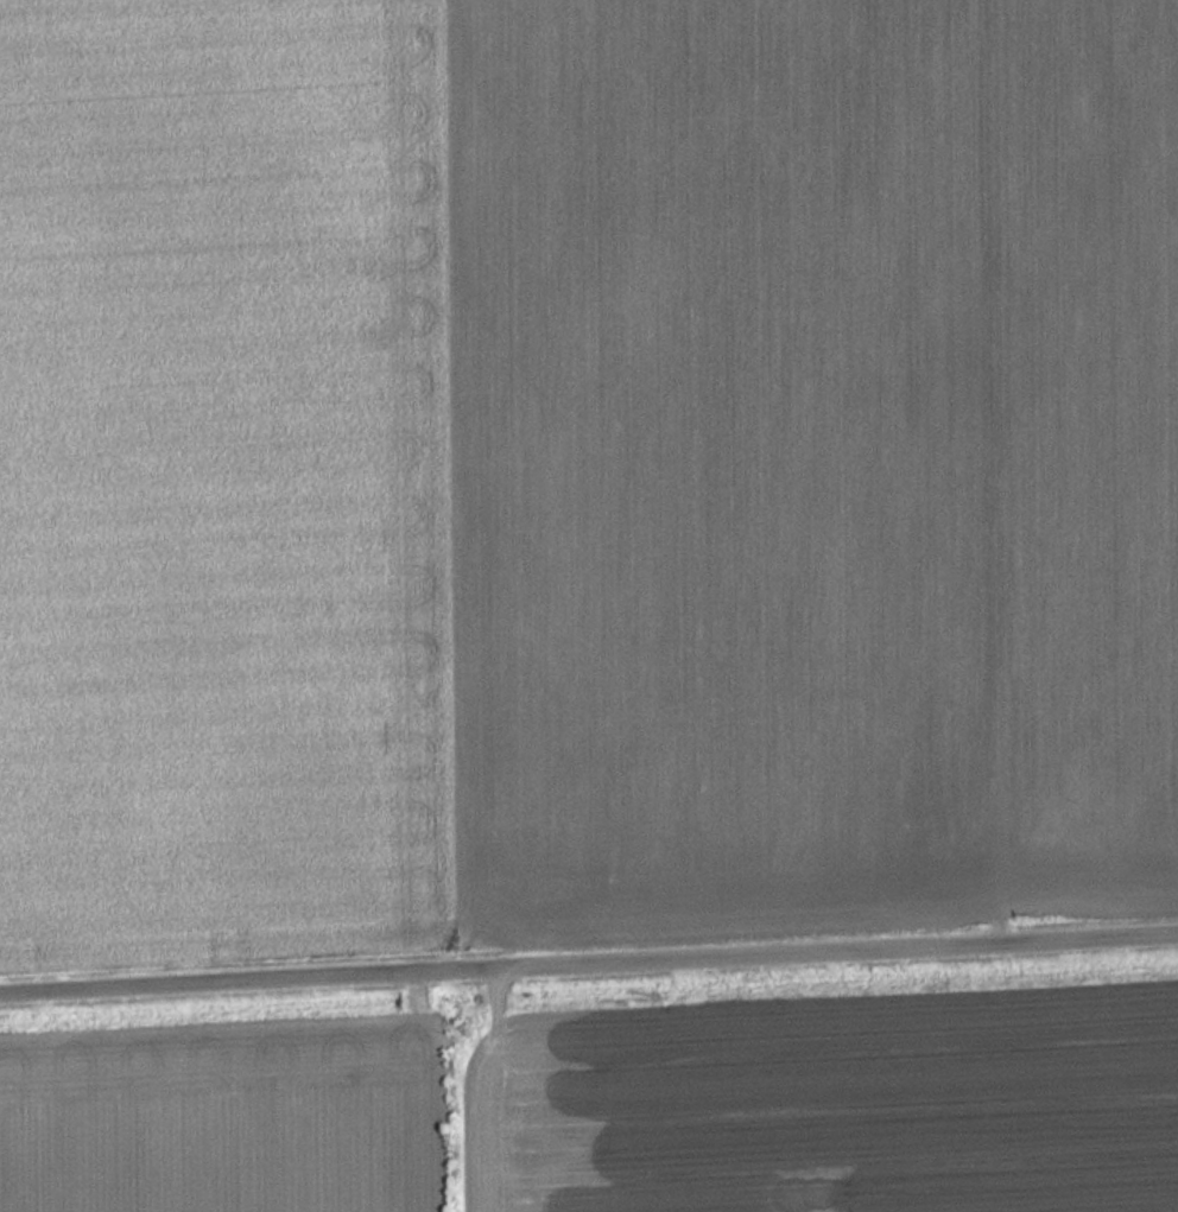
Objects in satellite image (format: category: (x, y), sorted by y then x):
road: (589, 965)

